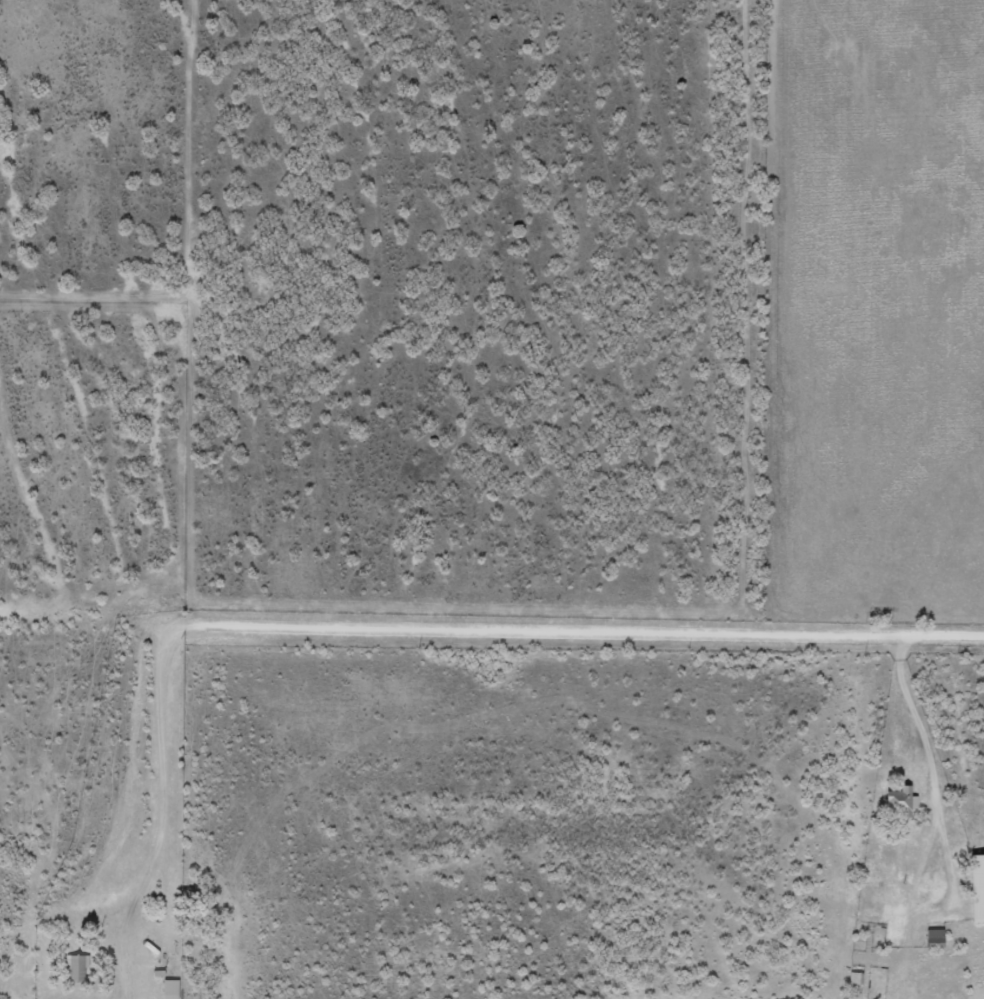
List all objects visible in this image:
road: (414, 640)
building: (893, 802)
building: (973, 888)
building: (928, 934)
building: (69, 969)
building: (164, 988)

